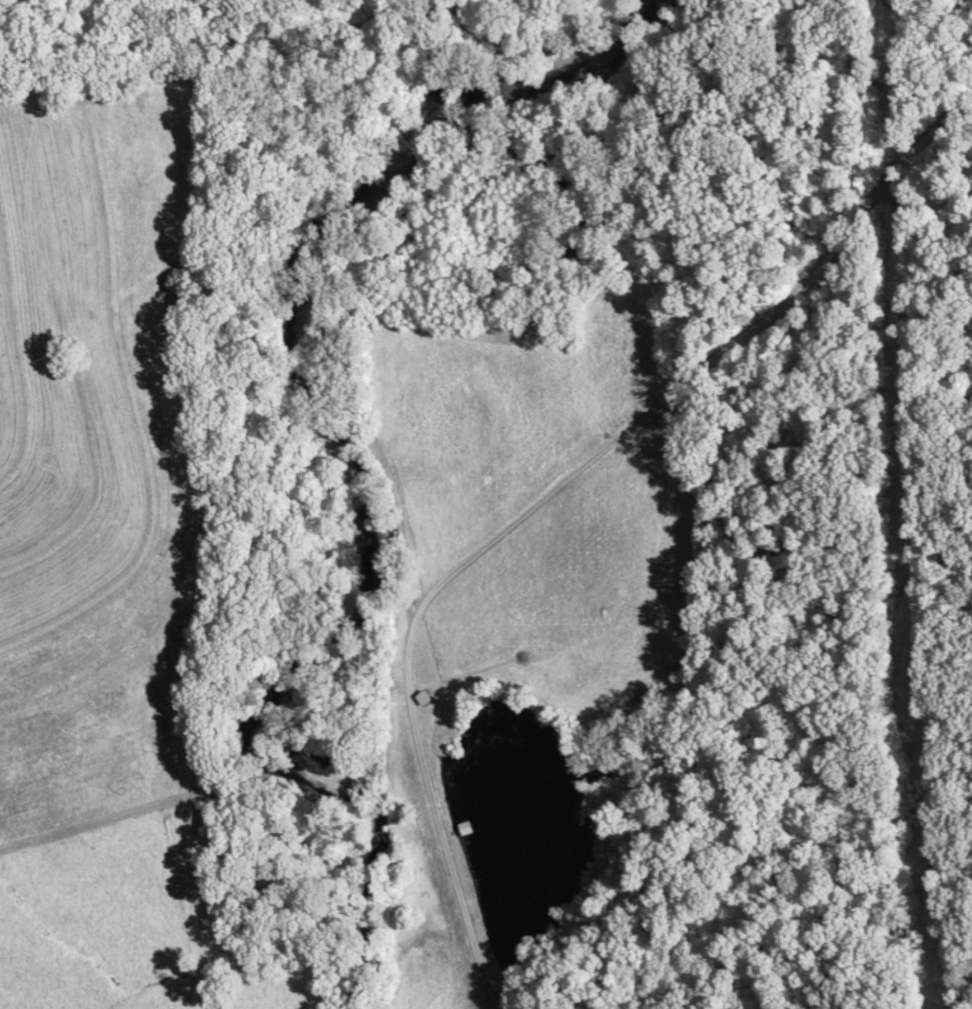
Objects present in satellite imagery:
road: (549, 498)
building: (420, 699)
building: (463, 830)

